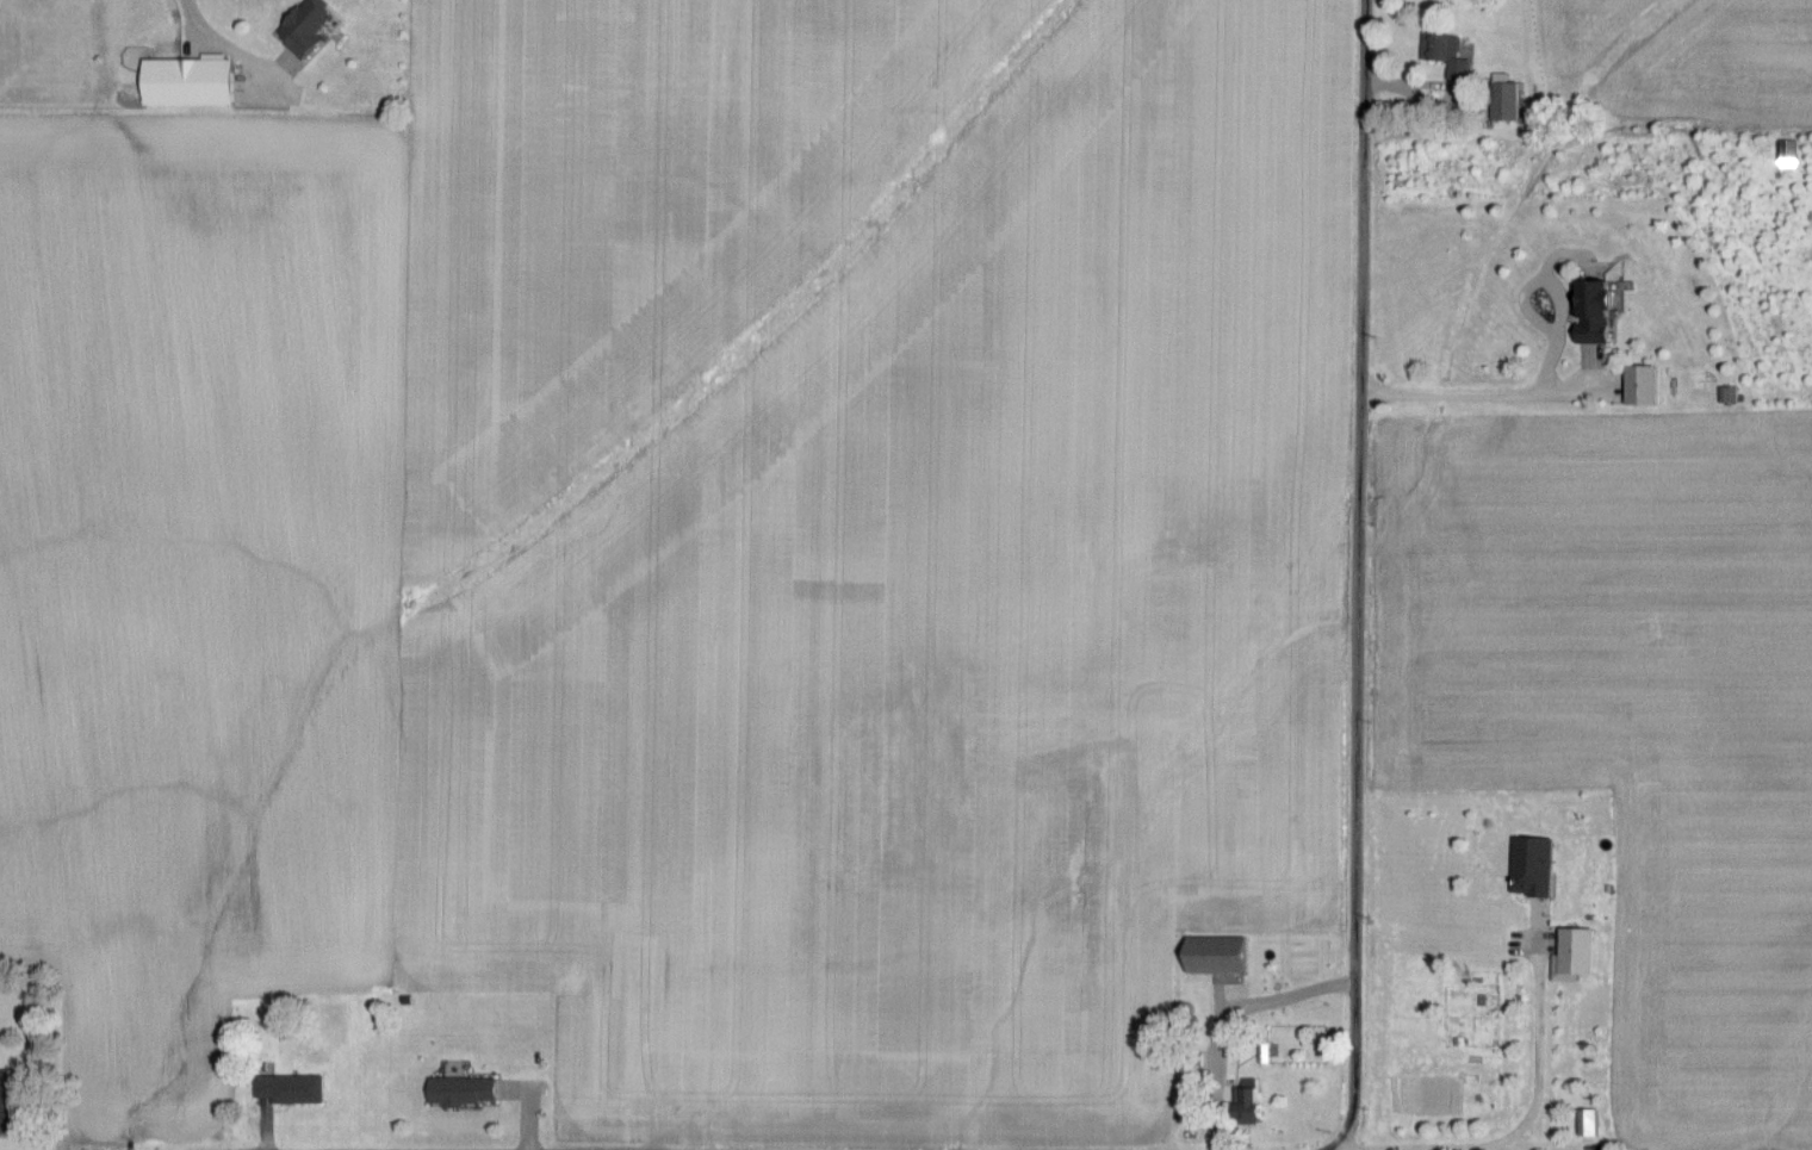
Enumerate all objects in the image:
road: (194, 19)
building: (308, 29)
building: (1440, 49)
building: (184, 85)
building: (1503, 102)
building: (1596, 310)
road: (1481, 396)
road: (1361, 578)
building: (1531, 868)
building: (1574, 952)
building: (1212, 957)
road: (1223, 1013)
road: (1540, 1033)
building: (285, 1090)
building: (459, 1093)
building: (1249, 1100)
building: (1585, 1124)
road: (1470, 1146)
road: (1346, 1148)

